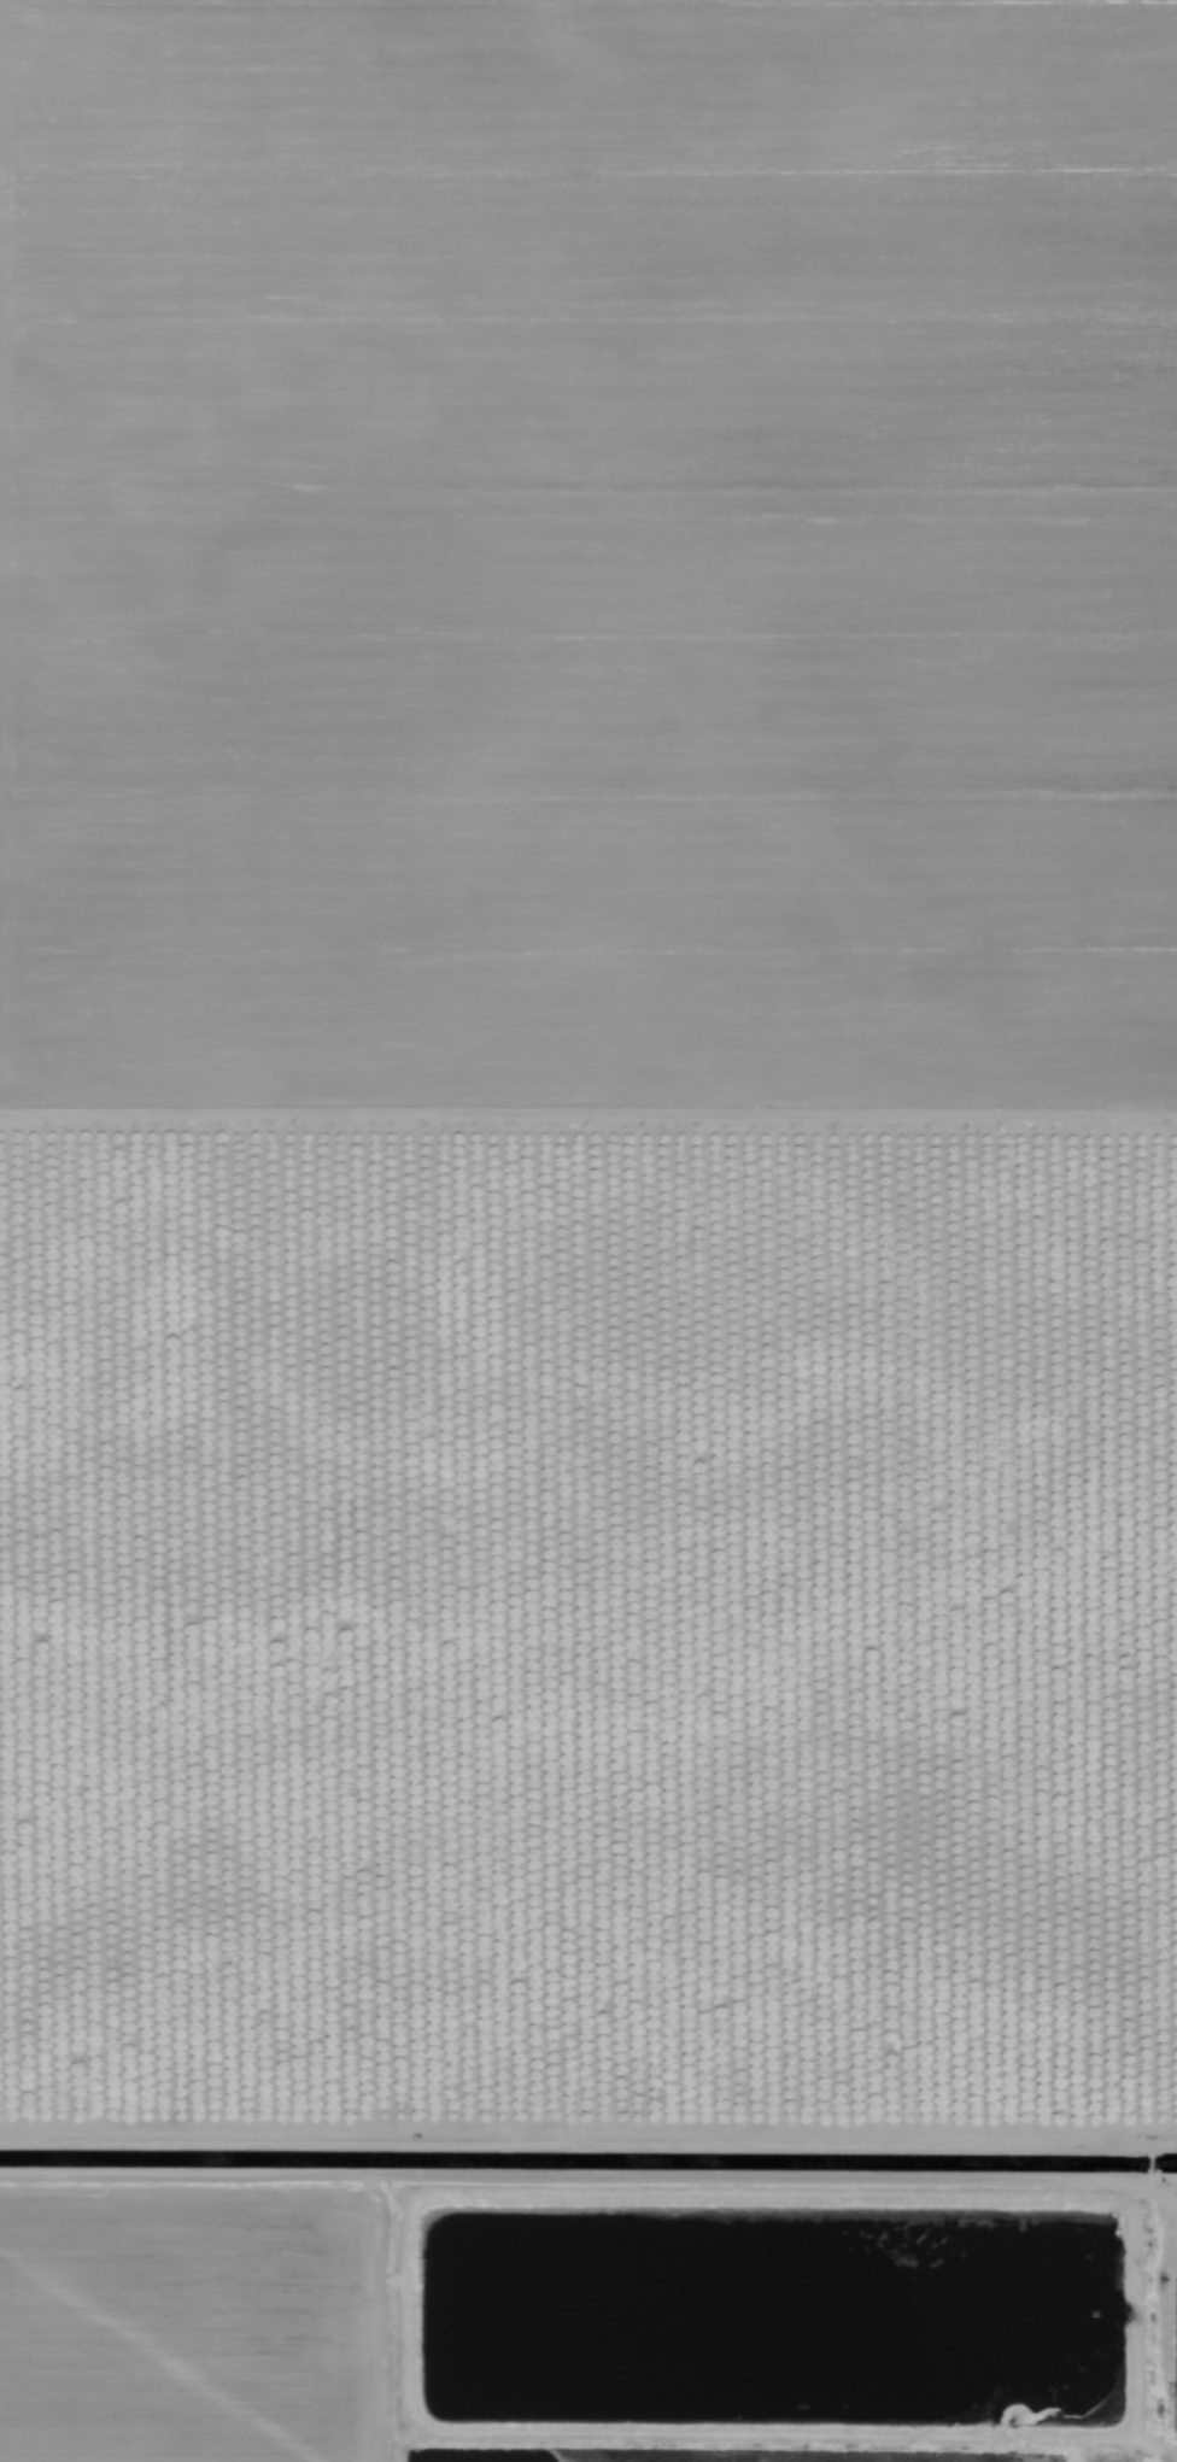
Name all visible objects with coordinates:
building: (1176, 2410)

